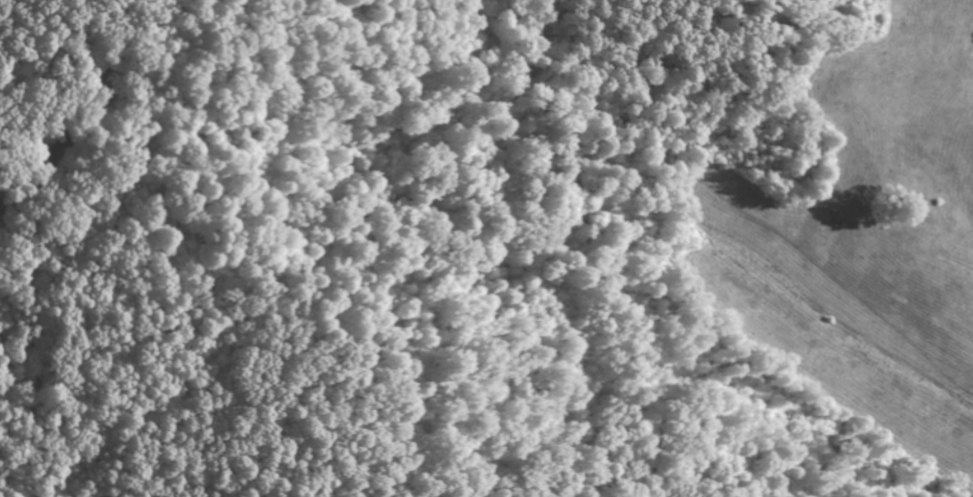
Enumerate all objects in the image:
road: (87, 116)

